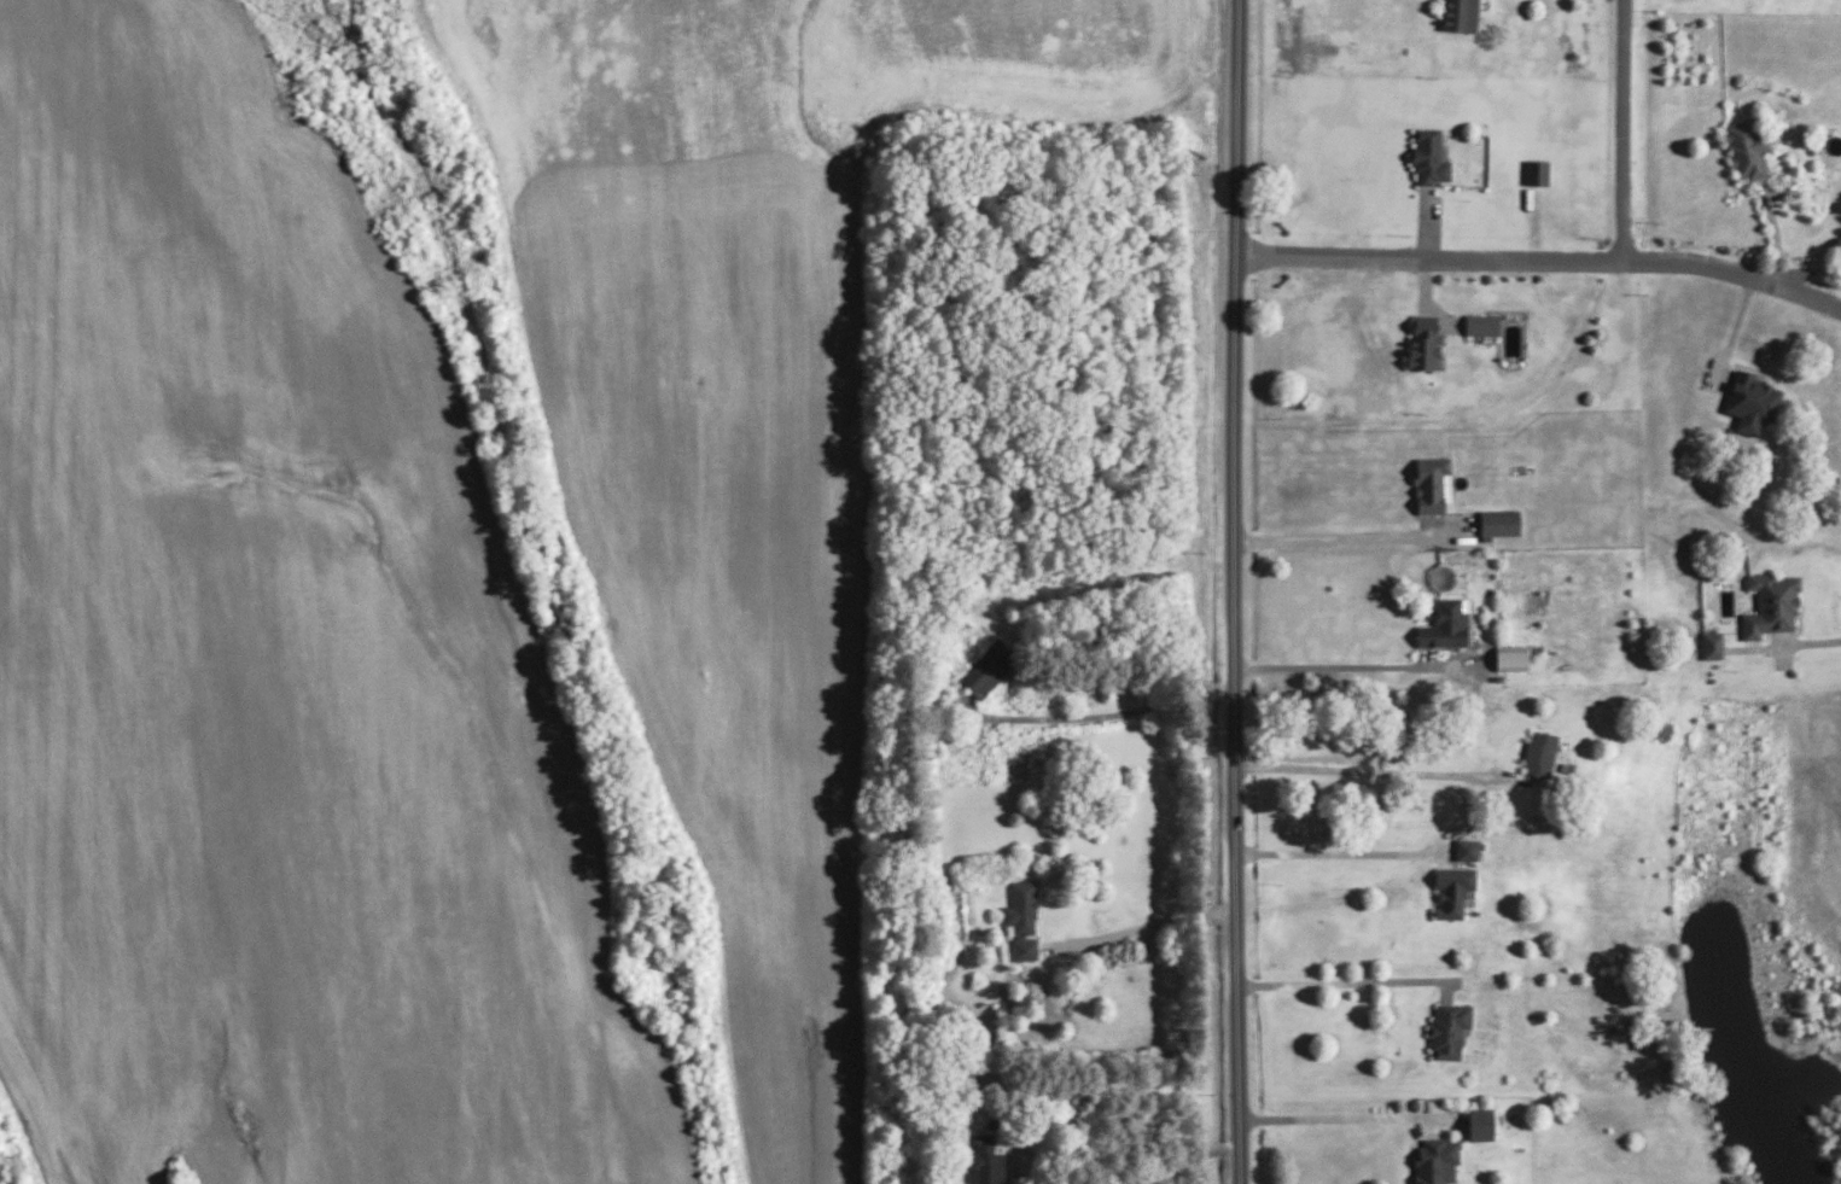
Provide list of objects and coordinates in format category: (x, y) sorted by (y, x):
building: (1460, 14)
road: (1622, 132)
building: (1746, 147)
building: (1428, 157)
building: (1537, 171)
road: (1542, 259)
road: (1806, 270)
building: (1481, 323)
building: (1423, 342)
building: (1750, 402)
building: (1433, 484)
building: (1502, 523)
road: (1336, 537)
road: (1234, 591)
building: (1770, 605)
building: (1446, 624)
road: (1813, 642)
building: (1711, 645)
building: (1511, 660)
road: (1333, 665)
building: (989, 669)
road: (1109, 713)
building: (1542, 753)
road: (1365, 769)
building: (1468, 850)
road: (1340, 852)
building: (1453, 890)
building: (1024, 918)
road: (1146, 928)
road: (1341, 980)
building: (1449, 1028)
road: (1338, 1116)
building: (1479, 1122)
building: (1437, 1159)
road: (1182, 1161)
building: (986, 1168)

